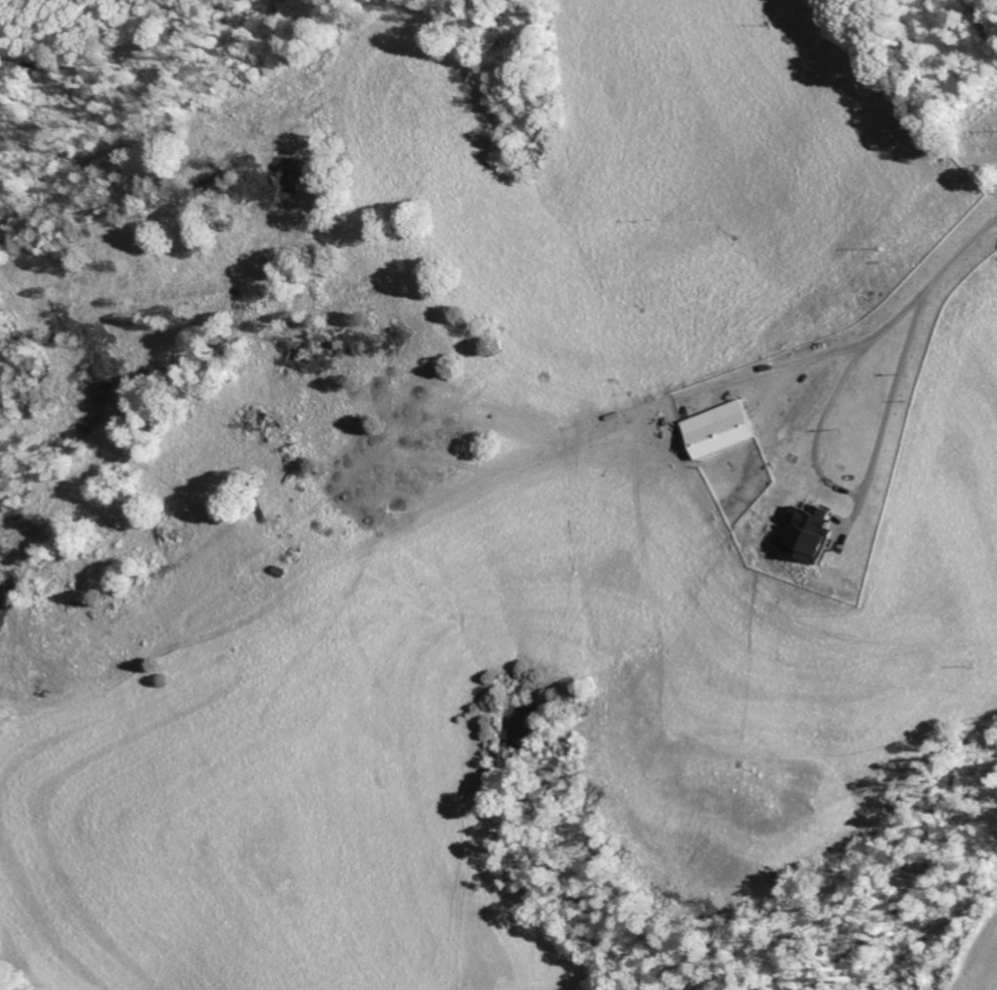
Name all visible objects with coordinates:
building: (727, 429)
building: (816, 532)

